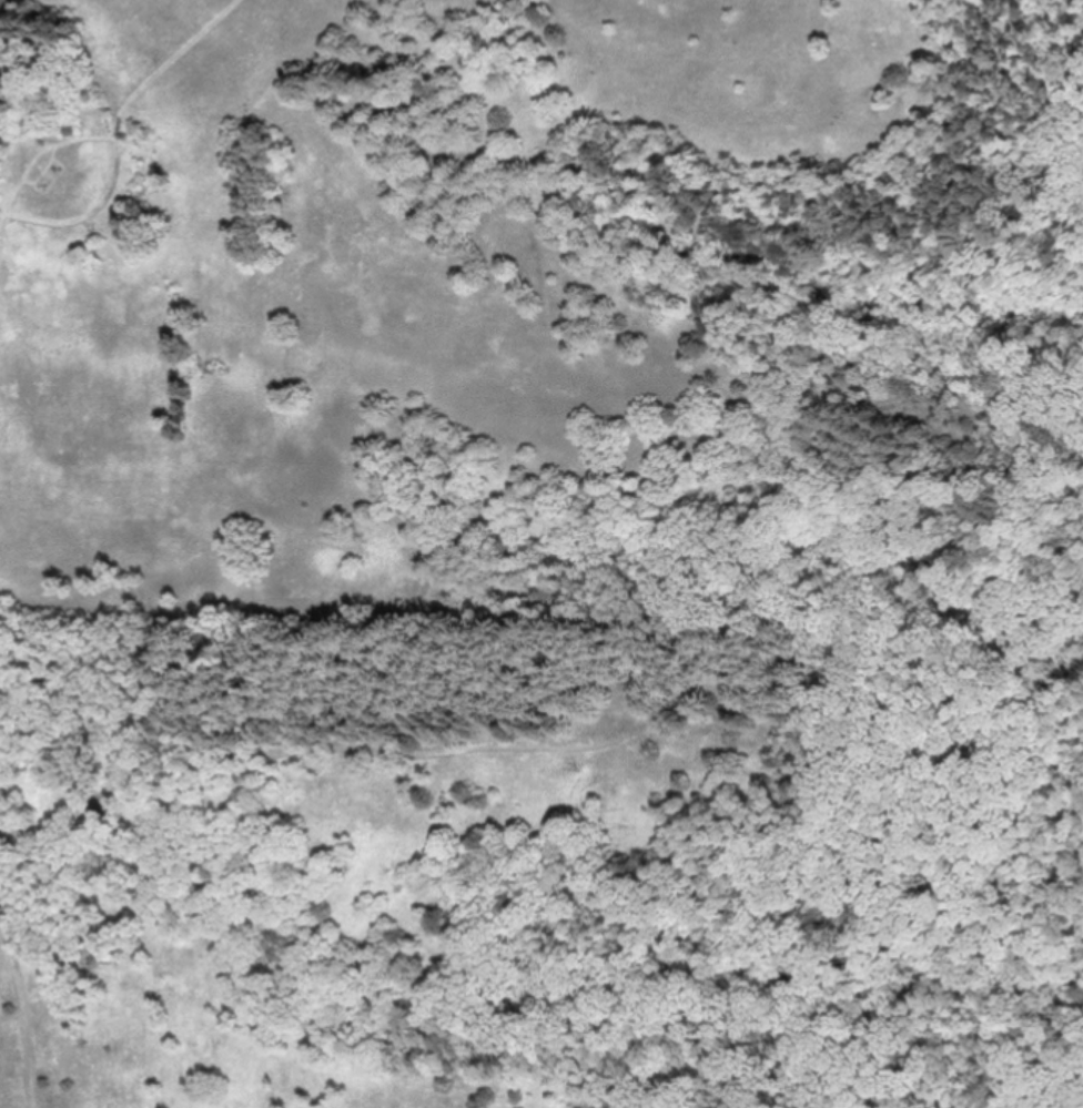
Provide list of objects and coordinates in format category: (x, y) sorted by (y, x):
road: (118, 133)
road: (44, 153)
road: (1, 225)
park: (541, 553)
road: (569, 708)
road: (40, 853)
road: (57, 984)
road: (24, 1015)
road: (536, 1091)

